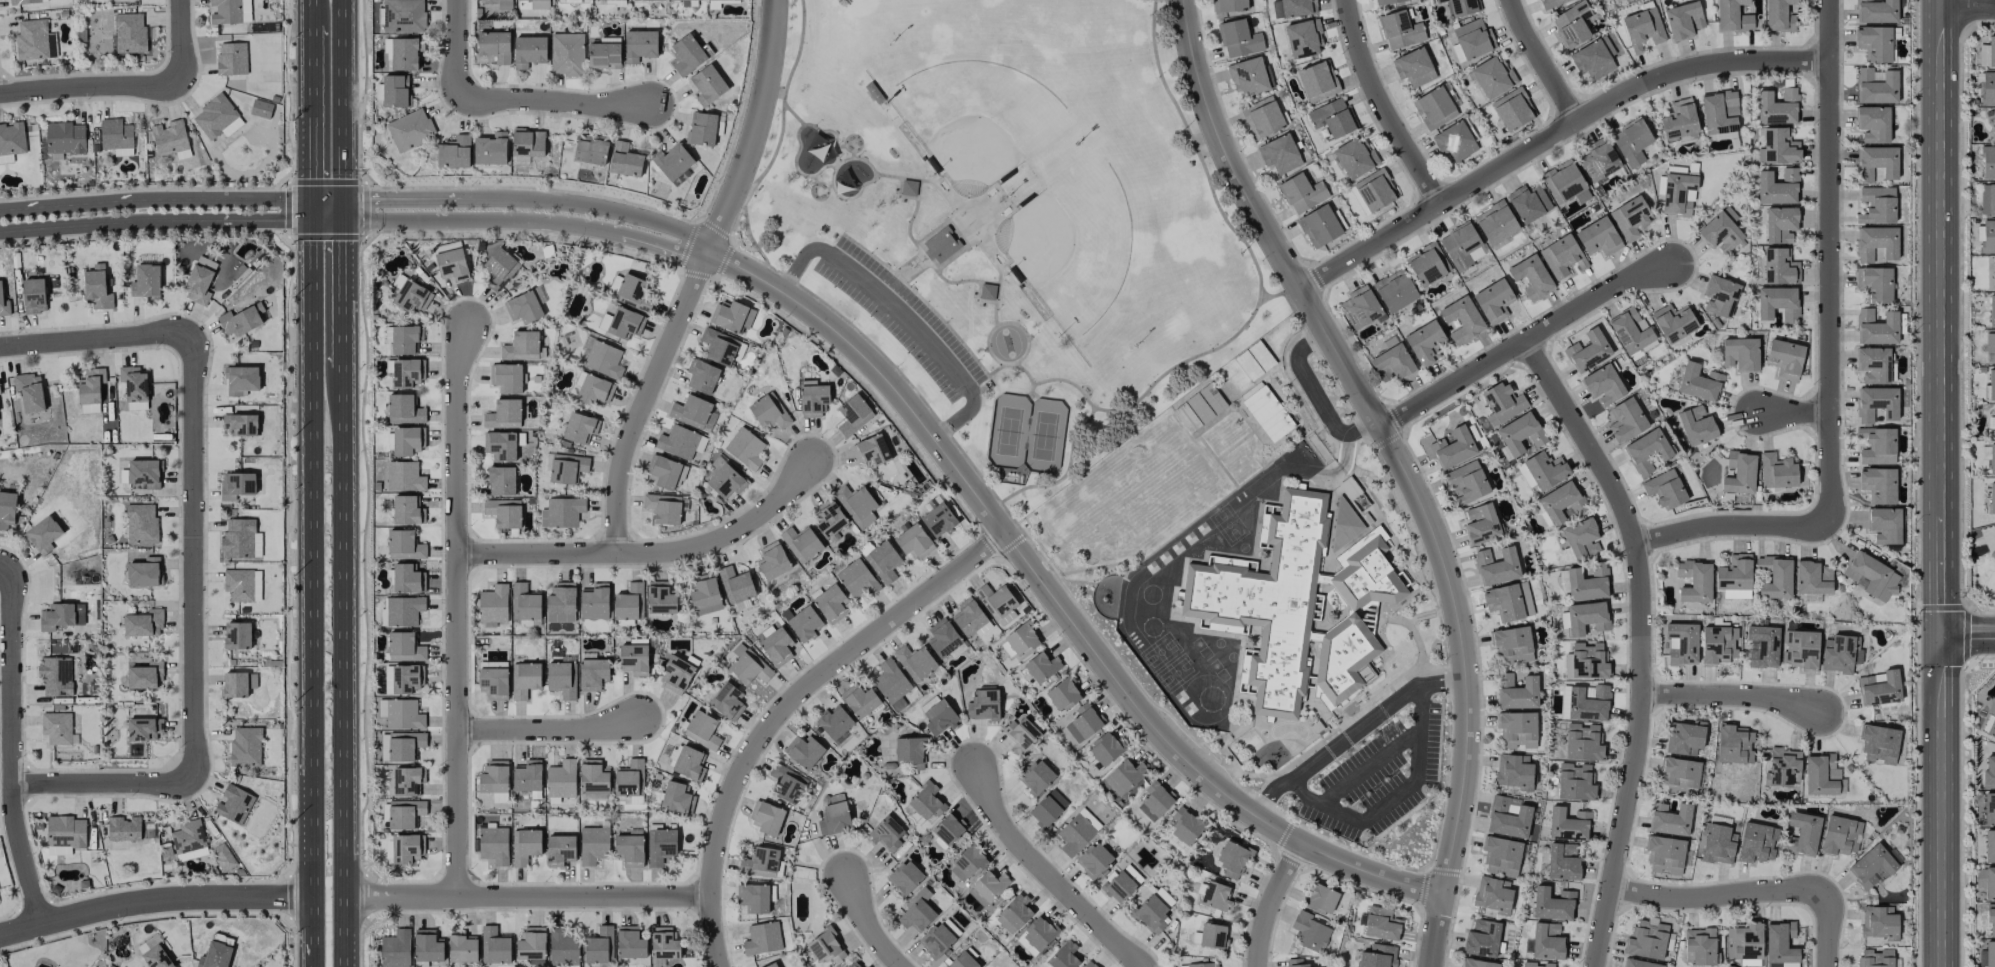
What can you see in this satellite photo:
building: (521, 0)
building: (620, 0)
building: (646, 0)
building: (27, 1)
building: (1387, 1)
building: (1551, 3)
building: (503, 4)
road: (311, 7)
building: (1228, 7)
building: (1462, 7)
building: (1293, 8)
road: (1967, 8)
building: (229, 11)
building: (1876, 11)
building: (1779, 15)
building: (403, 16)
building: (1733, 16)
building: (1683, 20)
building: (1571, 24)
building: (1643, 28)
building: (1400, 30)
building: (129, 32)
building: (1239, 38)
building: (1303, 38)
building: (1473, 38)
building: (34, 40)
building: (1875, 43)
road: (182, 44)
building: (640, 45)
building: (494, 46)
road: (458, 49)
building: (529, 51)
building: (1991, 51)
building: (405, 53)
building: (567, 54)
building: (604, 54)
building: (689, 54)
building: (1983, 55)
building: (231, 58)
building: (1594, 58)
road: (1542, 61)
building: (1413, 67)
building: (1492, 76)
building: (1248, 77)
building: (1317, 81)
building: (707, 85)
building: (1876, 85)
road: (91, 87)
building: (1988, 88)
building: (395, 91)
road: (553, 100)
road: (1385, 106)
building: (1777, 106)
road: (311, 107)
building: (261, 108)
building: (1434, 108)
road: (345, 109)
building: (1512, 109)
building: (1719, 112)
building: (217, 117)
building: (1262, 117)
building: (1332, 117)
park: (976, 120)
building: (1679, 121)
building: (1873, 123)
building: (1994, 124)
building: (702, 128)
building: (410, 129)
building: (116, 136)
road: (1551, 136)
building: (12, 138)
building: (64, 139)
building: (171, 139)
building: (1455, 141)
building: (1631, 141)
building: (527, 143)
building: (1779, 146)
building: (490, 149)
building: (590, 151)
building: (454, 153)
building: (1279, 154)
building: (1354, 157)
building: (6, 159)
building: (625, 160)
building: (1599, 160)
building: (1876, 162)
building: (1988, 162)
building: (673, 163)
building: (1565, 180)
building: (909, 187)
building: (1777, 187)
building: (1375, 190)
building: (1302, 192)
building: (1677, 193)
road: (155, 199)
traffic signals: (312, 199)
traffic signals: (346, 199)
road: (385, 199)
building: (1987, 199)
building: (1528, 203)
building: (1877, 205)
road: (588, 206)
park: (1010, 217)
building: (1630, 218)
road: (266, 220)
traffic signals: (312, 220)
traffic signals: (346, 220)
road: (466, 220)
building: (1496, 222)
road: (110, 223)
building: (1780, 224)
building: (1319, 226)
building: (1721, 231)
building: (1988, 236)
building: (1598, 237)
building: (1876, 243)
building: (941, 245)
park: (1070, 245)
building: (1462, 245)
road: (663, 248)
building: (1561, 256)
building: (206, 262)
building: (451, 264)
building: (1427, 264)
building: (500, 267)
building: (1779, 267)
building: (1994, 275)
building: (1531, 276)
road: (695, 277)
building: (146, 281)
building: (1875, 283)
building: (198, 284)
building: (97, 288)
building: (1395, 290)
building: (634, 292)
building: (34, 295)
road: (346, 295)
building: (411, 296)
building: (1720, 296)
building: (1493, 301)
building: (4, 303)
building: (1777, 303)
building: (523, 307)
building: (1360, 307)
building: (1991, 310)
road: (902, 313)
building: (732, 315)
parking lot: (903, 318)
road: (1940, 318)
building: (241, 319)
building: (1462, 319)
building: (624, 322)
building: (1674, 322)
building: (1877, 327)
building: (1631, 331)
building: (403, 338)
road: (1522, 339)
road: (96, 341)
building: (1425, 342)
park: (1008, 343)
building: (1990, 345)
building: (521, 346)
building: (719, 346)
building: (1588, 350)
building: (1740, 353)
building: (1784, 358)
building: (602, 359)
building: (1254, 360)
road: (1829, 361)
building: (1393, 362)
building: (1875, 365)
road: (1018, 368)
building: (406, 373)
building: (701, 376)
building: (506, 377)
building: (134, 382)
building: (1699, 382)
building: (1603, 384)
building: (1991, 384)
building: (90, 386)
building: (592, 389)
building: (29, 391)
building: (812, 398)
road: (1315, 398)
building: (1502, 402)
building: (1876, 403)
building: (1199, 408)
building: (404, 409)
building: (769, 411)
road: (1793, 411)
building: (693, 413)
building: (1268, 413)
building: (504, 414)
building: (853, 415)
building: (1626, 420)
building: (1994, 421)
building: (240, 424)
building: (1696, 425)
building: (579, 427)
park: (1026, 433)
road: (1384, 433)
building: (1520, 433)
road: (1074, 437)
building: (404, 441)
building: (680, 442)
building: (500, 445)
building: (1877, 445)
building: (1453, 447)
building: (745, 448)
building: (872, 450)
building: (1647, 450)
building: (1992, 460)
building: (564, 467)
building: (1544, 470)
building: (664, 471)
building: (1777, 471)
building: (143, 472)
building: (1740, 473)
building: (404, 476)
building: (724, 478)
building: (501, 480)
building: (1466, 483)
building: (1878, 484)
building: (237, 485)
building: (1665, 489)
building: (1991, 498)
building: (1562, 502)
building: (857, 504)
building: (663, 508)
building: (6, 510)
building: (407, 510)
building: (503, 512)
building: (562, 512)
building: (937, 517)
building: (829, 518)
building: (141, 523)
building: (1343, 523)
building: (1481, 524)
building: (1885, 525)
building: (43, 534)
building: (1582, 538)
building: (240, 539)
building: (914, 541)
building: (801, 543)
building: (404, 545)
road: (648, 553)
building: (1992, 555)
road: (194, 559)
building: (882, 559)
building: (773, 560)
building: (1496, 566)
building: (143, 572)
building: (1734, 573)
road: (312, 574)
building: (1367, 574)
building: (1775, 576)
building: (1872, 576)
building: (405, 578)
building: (1813, 578)
building: (857, 579)
building: (1695, 581)
building: (1587, 583)
building: (242, 584)
building: (736, 585)
building: (705, 594)
building: (660, 598)
road: (1057, 598)
building: (1268, 600)
building: (594, 601)
building: (1509, 601)
building: (524, 602)
building: (561, 602)
building: (628, 602)
building: (997, 602)
building: (830, 603)
building: (493, 604)
building: (403, 610)
road: (457, 610)
building: (57, 616)
building: (1586, 617)
building: (970, 618)
building: (143, 623)
building: (804, 623)
building: (237, 635)
road: (1967, 636)
traffic signals: (1940, 637)
building: (943, 638)
building: (1022, 639)
road: (1641, 640)
building: (1682, 643)
building: (1718, 644)
building: (1512, 645)
building: (776, 646)
building: (1763, 646)
building: (404, 647)
building: (1801, 649)
building: (1840, 653)
building: (634, 657)
building: (1343, 659)
building: (1588, 661)
building: (915, 662)
road: (346, 665)
building: (1042, 666)
building: (749, 667)
building: (593, 674)
building: (145, 675)
building: (676, 675)
building: (55, 676)
building: (493, 679)
building: (525, 679)
building: (562, 679)
building: (402, 680)
building: (238, 684)
building: (891, 684)
building: (1879, 688)
building: (1517, 692)
building: (1063, 694)
road: (1731, 696)
building: (859, 700)
building: (727, 701)
road: (782, 703)
building: (1584, 703)
building: (983, 704)
building: (403, 714)
building: (939, 717)
building: (1991, 721)
building: (834, 722)
building: (1083, 723)
building: (57, 728)
building: (143, 728)
building: (1518, 728)
road: (549, 729)
building: (702, 729)
road: (1353, 732)
building: (1021, 734)
building: (1685, 737)
road: (12, 742)
building: (1582, 742)
building: (1879, 743)
building: (1734, 744)
building: (245, 746)
building: (405, 747)
building: (1105, 748)
building: (803, 751)
building: (910, 751)
building: (687, 761)
building: (1783, 766)
building: (1514, 771)
building: (1989, 773)
building: (1821, 774)
building: (527, 776)
building: (592, 776)
building: (1124, 776)
building: (1679, 776)
building: (494, 777)
building: (1036, 777)
building: (629, 778)
building: (561, 779)
building: (407, 780)
building: (1575, 782)
building: (787, 783)
road: (104, 785)
road: (1394, 797)
building: (675, 798)
building: (926, 801)
building: (1155, 801)
road: (1940, 802)
building: (233, 804)
building: (1047, 808)
building: (1989, 809)
building: (404, 813)
building: (766, 817)
building: (834, 818)
building: (1508, 818)
building: (1671, 821)
building: (1568, 824)
building: (124, 829)
building: (1183, 829)
building: (946, 830)
building: (1077, 832)
building: (1803, 833)
building: (64, 834)
building: (887, 834)
building: (1840, 835)
building: (189, 840)
building: (1757, 842)
building: (493, 844)
building: (593, 844)
building: (1718, 844)
building: (524, 846)
building: (661, 846)
building: (1989, 846)
building: (403, 848)
building: (560, 849)
building: (629, 849)
building: (1665, 855)
building: (223, 856)
building: (1501, 856)
building: (1093, 859)
building: (1232, 859)
building: (760, 862)
building: (1563, 862)
building: (967, 863)
building: (1871, 866)
road: (1046, 874)
building: (905, 877)
building: (1990, 883)
building: (990, 885)
building: (1118, 886)
building: (1493, 894)
building: (1215, 896)
road: (1718, 896)
road: (527, 897)
building: (1163, 897)
building: (753, 898)
building: (1321, 899)
road: (154, 901)
road: (1272, 901)
building: (1552, 904)
building: (916, 912)
building: (1014, 913)
building: (1151, 914)
building: (1991, 921)
building: (1879, 922)
building: (1381, 923)
road: (865, 925)
road: (1827, 928)
building: (1309, 931)
road: (1435, 932)
building: (1037, 935)
building: (1213, 935)
building: (939, 937)
building: (762, 938)
building: (1482, 938)
building: (1647, 939)
building: (1547, 941)
building: (1743, 941)
building: (630, 942)
building: (663, 944)
building: (531, 945)
building: (598, 945)
building: (1780, 945)
building: (495, 946)
building: (1700, 946)
building: (427, 947)
building: (562, 947)
building: (825, 947)
building: (462, 948)
building: (395, 949)
building: (217, 952)
building: (1990, 954)
building: (1376, 955)
building: (1063, 956)
building: (156, 957)
road: (314, 958)
building: (1876, 958)
building: (963, 961)
road: (346, 963)
building: (1295, 963)
building: (1479, 963)
building: (1639, 963)
building: (772, 965)
building: (851, 965)
building: (1090, 965)
building: (1202, 965)
building: (1536, 965)

